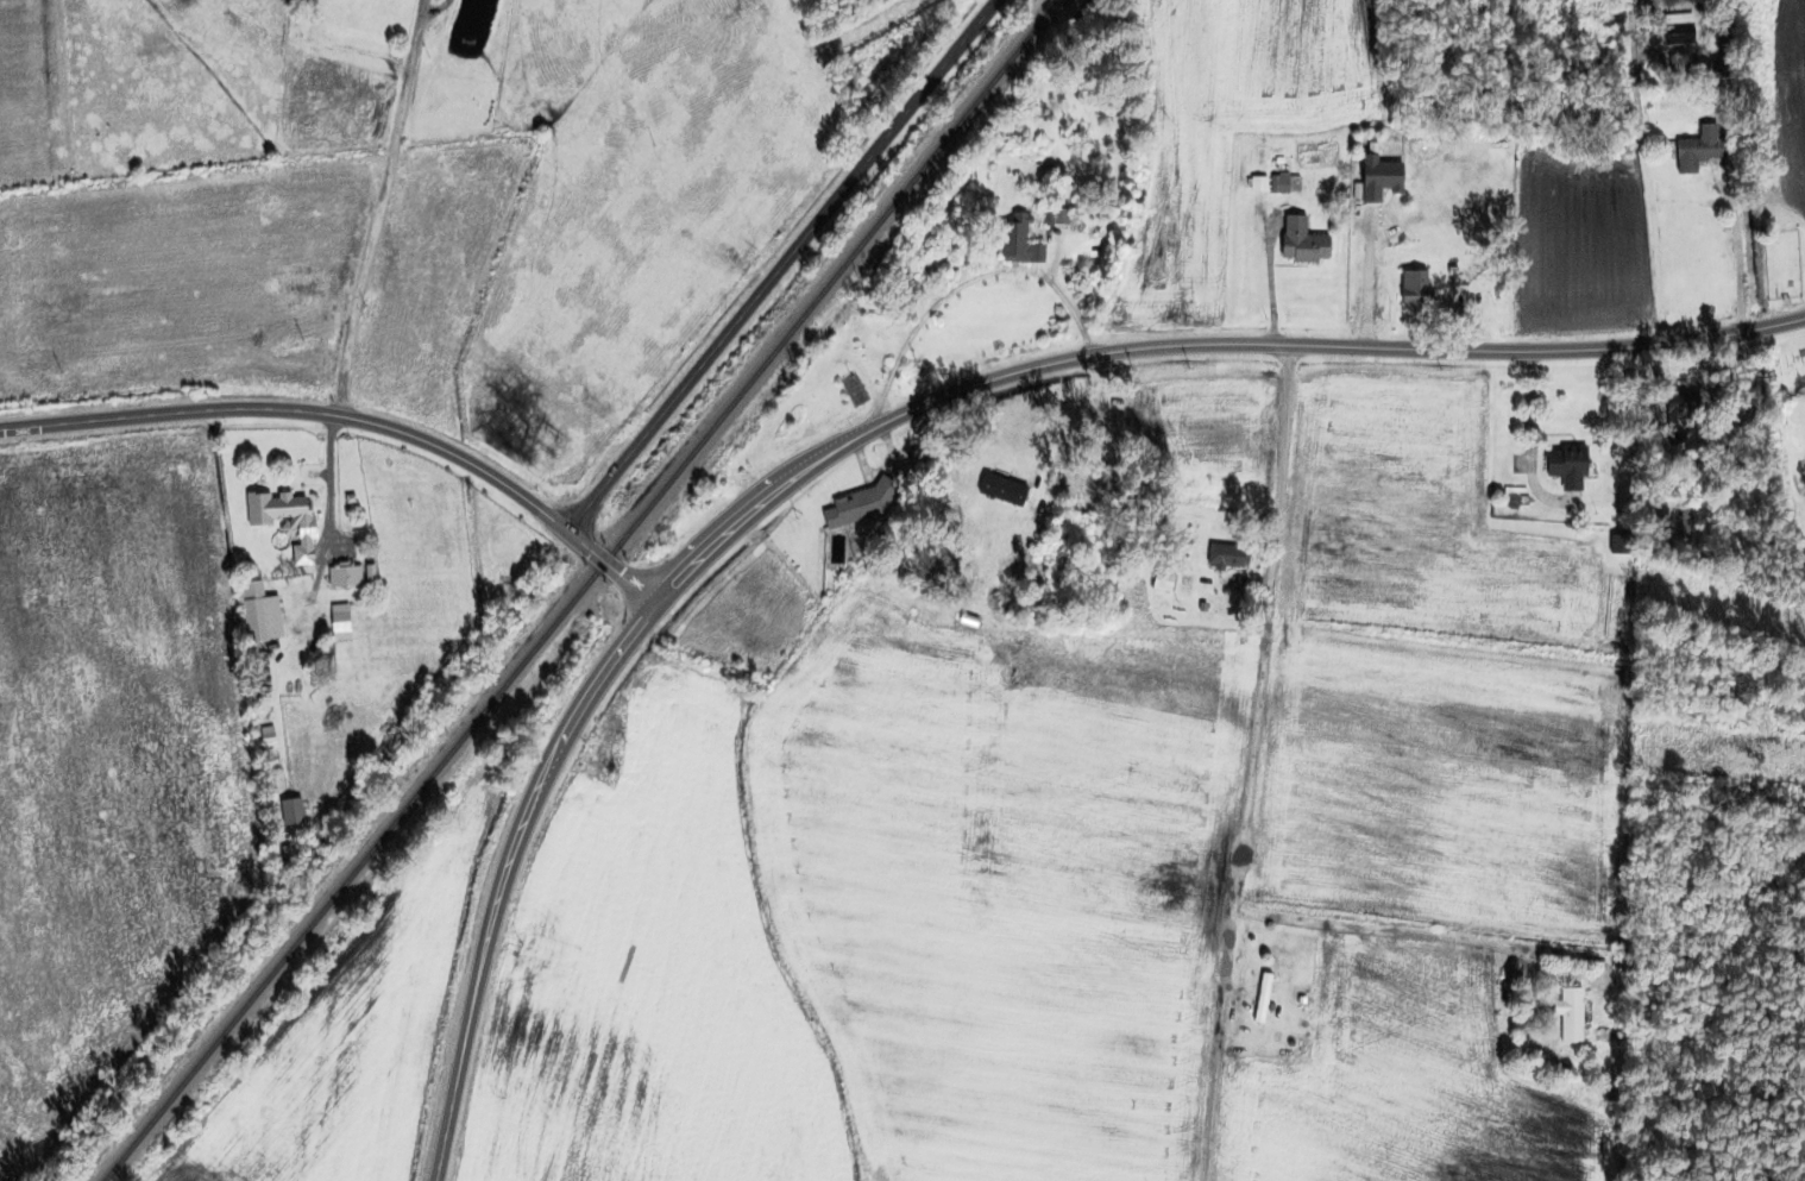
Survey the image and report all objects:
building: (1694, 150)
building: (1283, 184)
road: (378, 206)
building: (1017, 241)
building: (1300, 241)
road: (776, 264)
building: (1411, 289)
road: (851, 435)
building: (1564, 467)
building: (1005, 492)
building: (859, 504)
building: (294, 523)
building: (1225, 557)
building: (342, 577)
building: (1183, 586)
railway: (578, 591)
building: (251, 611)
building: (265, 739)
road: (1282, 764)
building: (288, 812)
road: (502, 873)
building: (1260, 999)
building: (1567, 1014)

